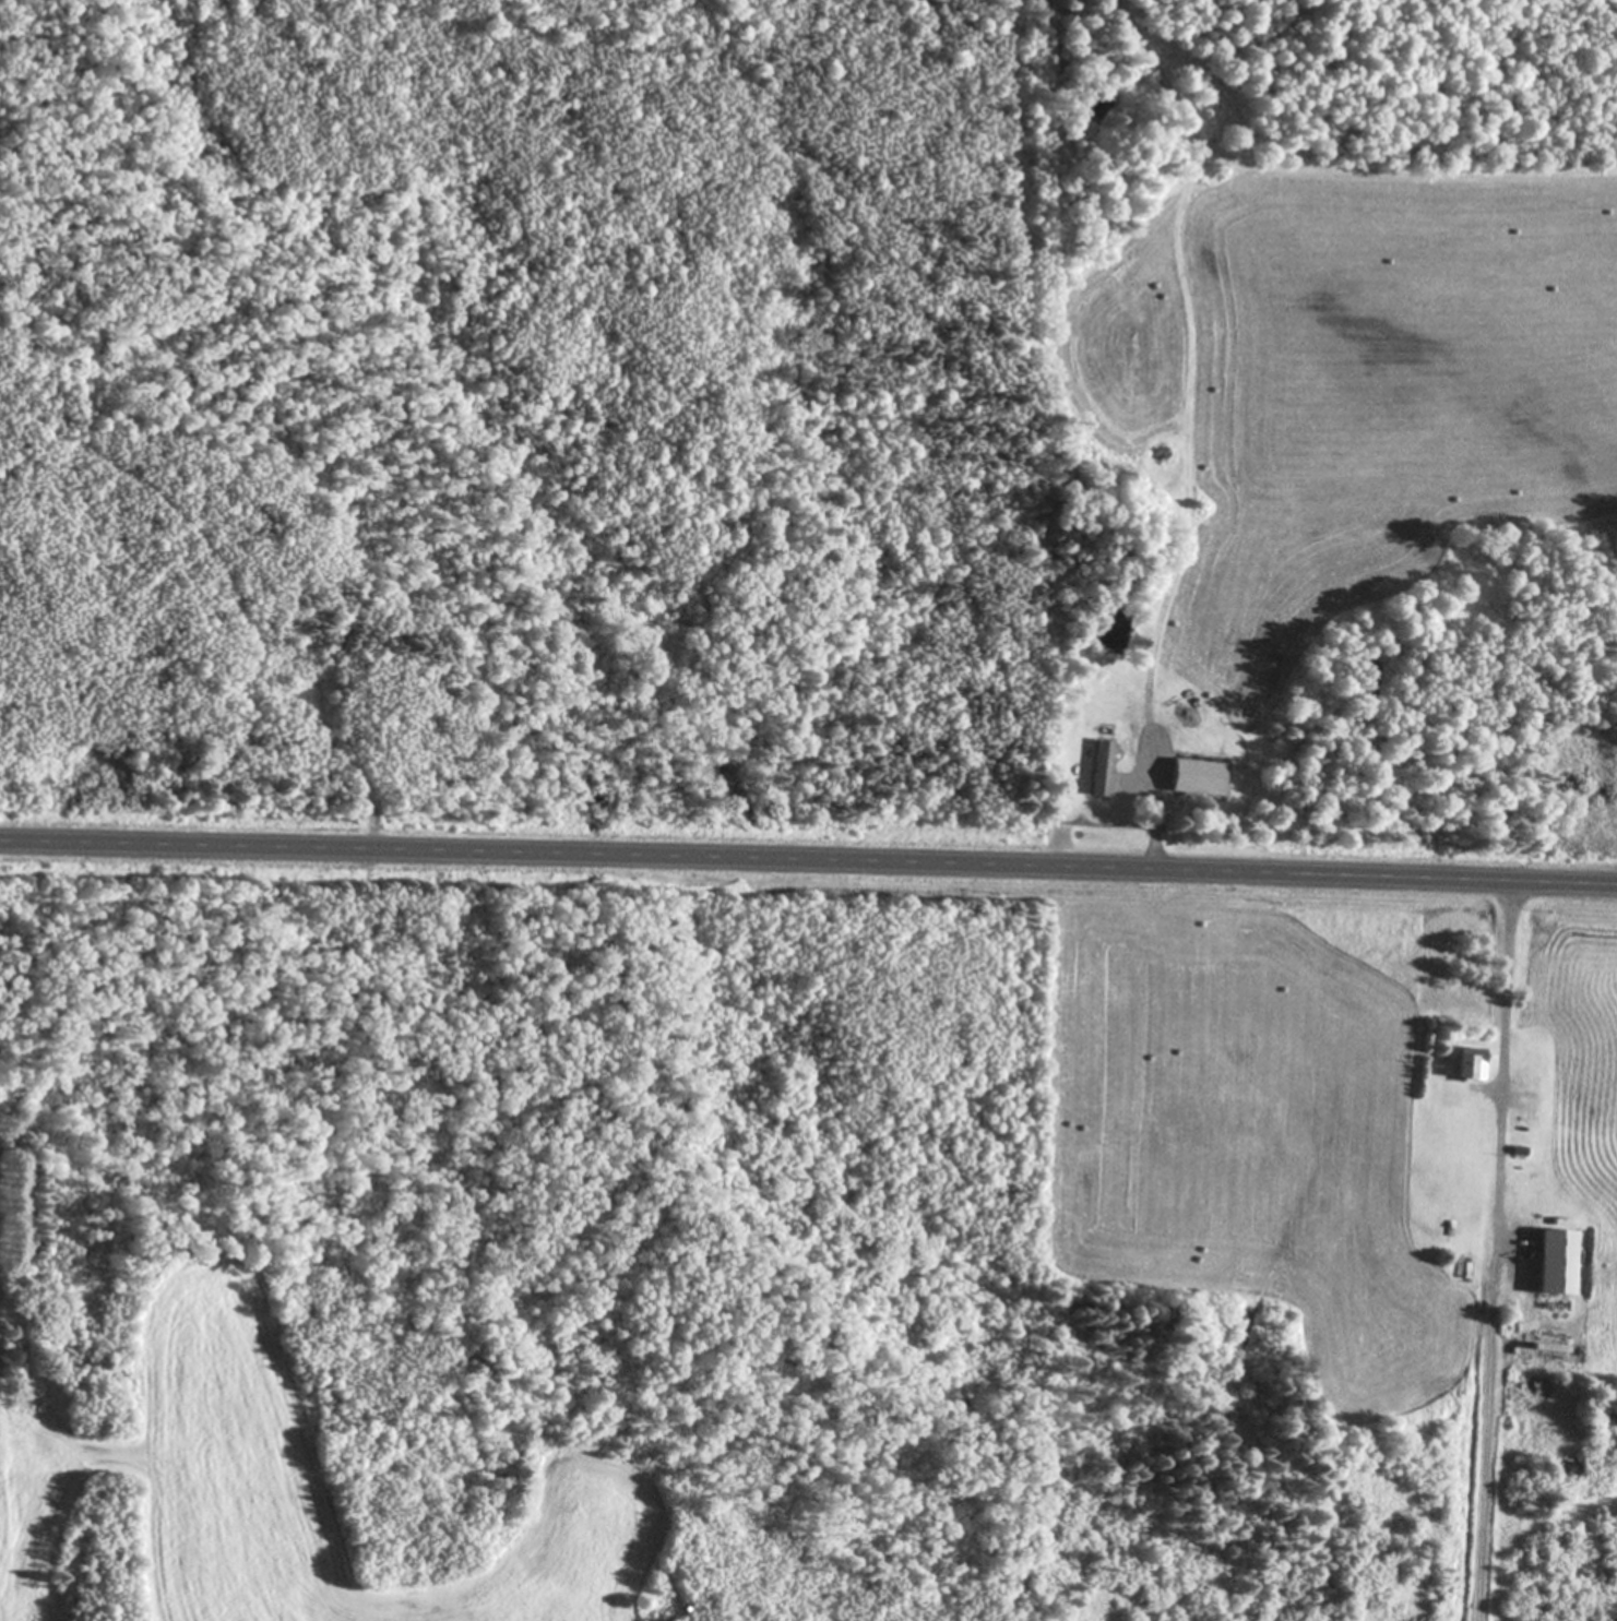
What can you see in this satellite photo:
building: (1098, 767)
building: (1193, 776)
road: (1150, 812)
road: (808, 860)
building: (1466, 1062)
road: (1498, 1081)
building: (1554, 1261)

